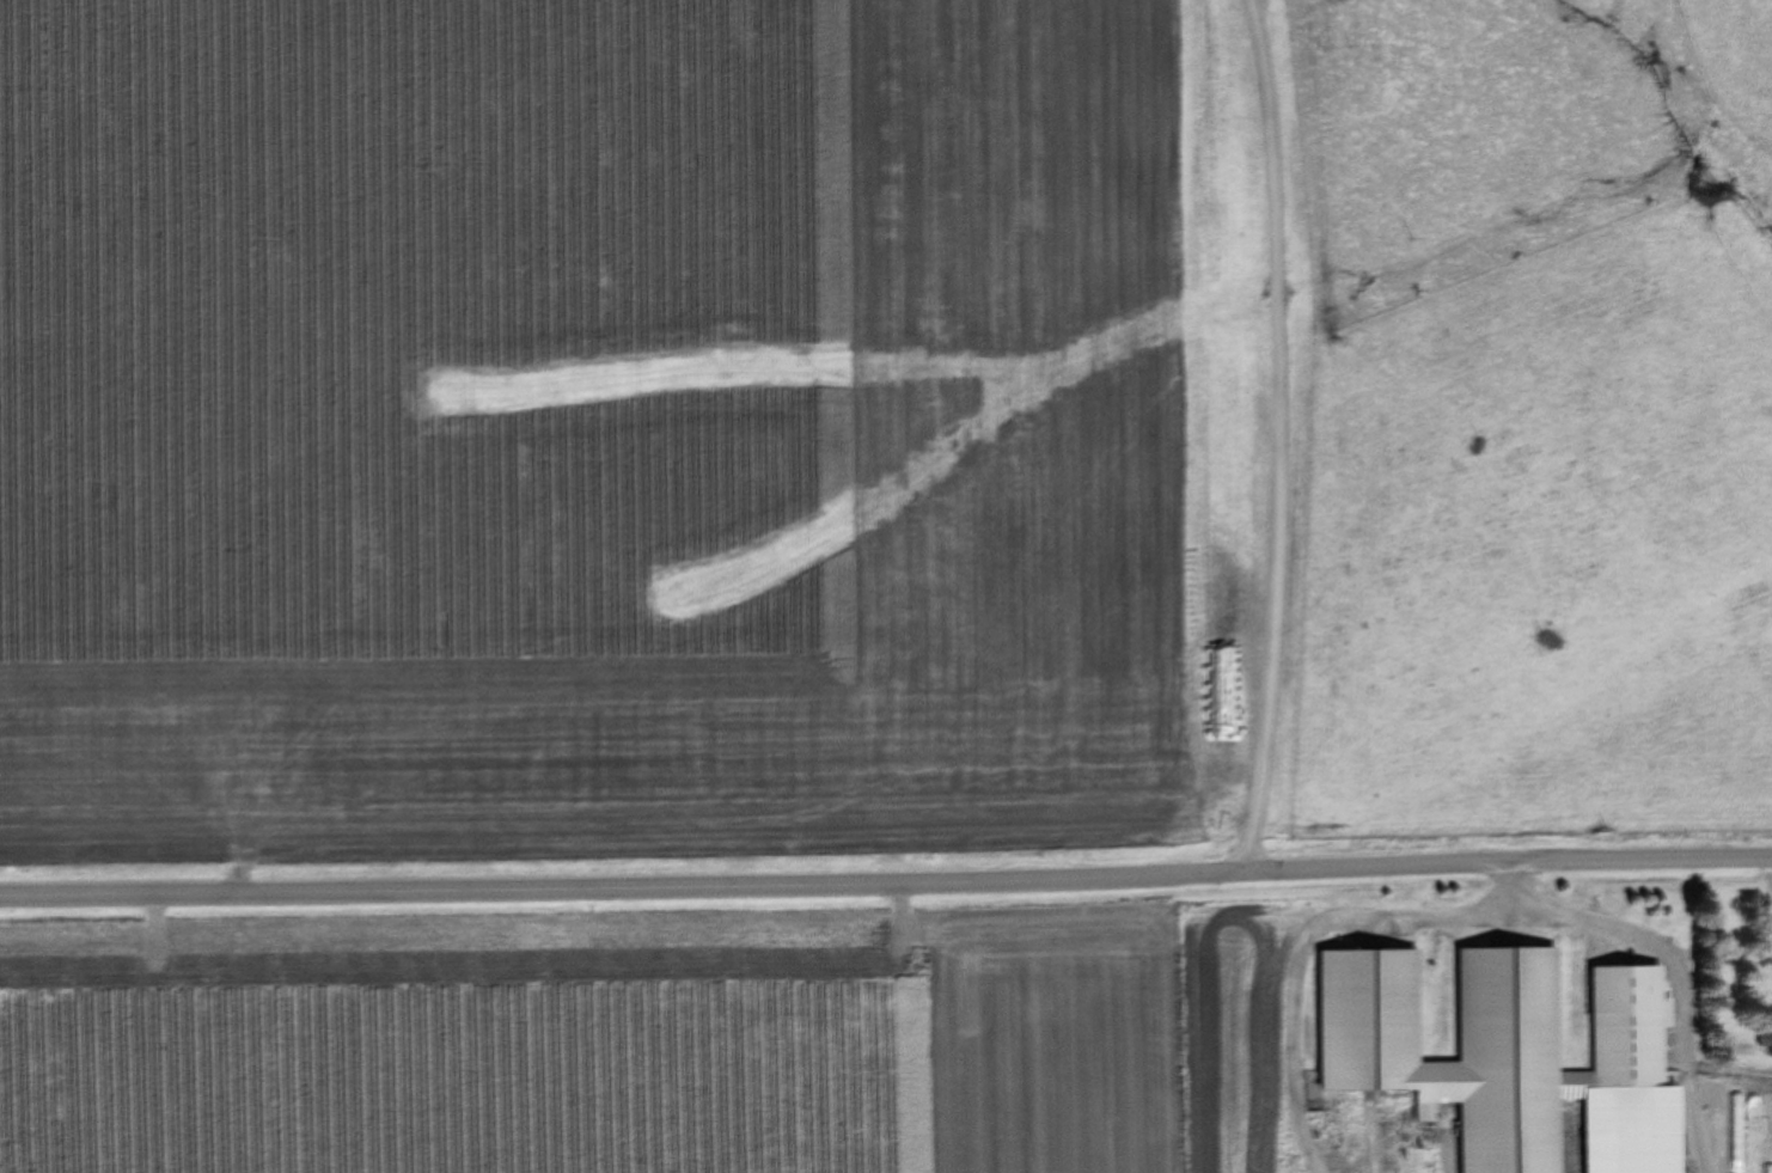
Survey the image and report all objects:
road: (1275, 436)
road: (886, 884)
building: (1491, 1043)
building: (1742, 1134)

